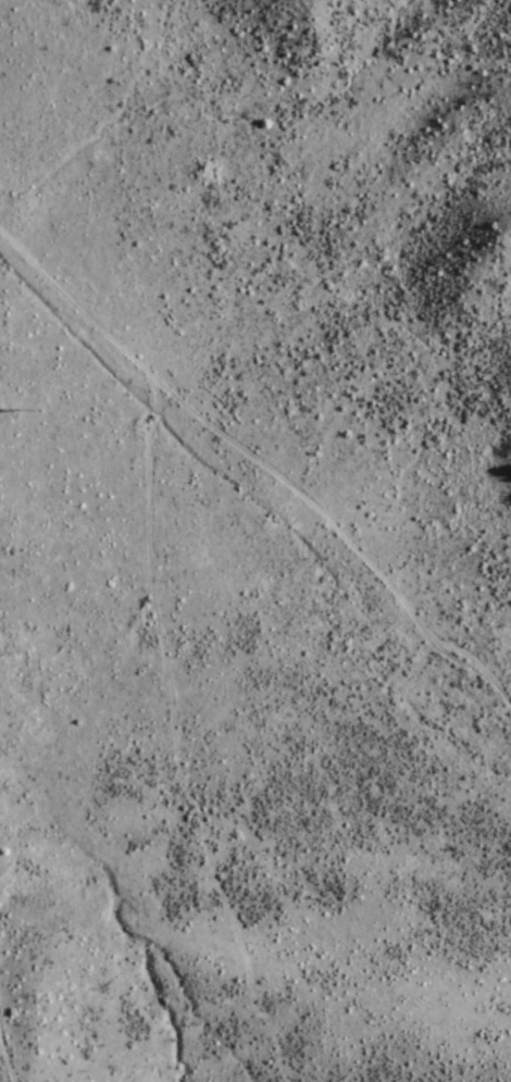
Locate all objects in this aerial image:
power tower: (2, 415)
road: (260, 465)
crop: (230, 712)

